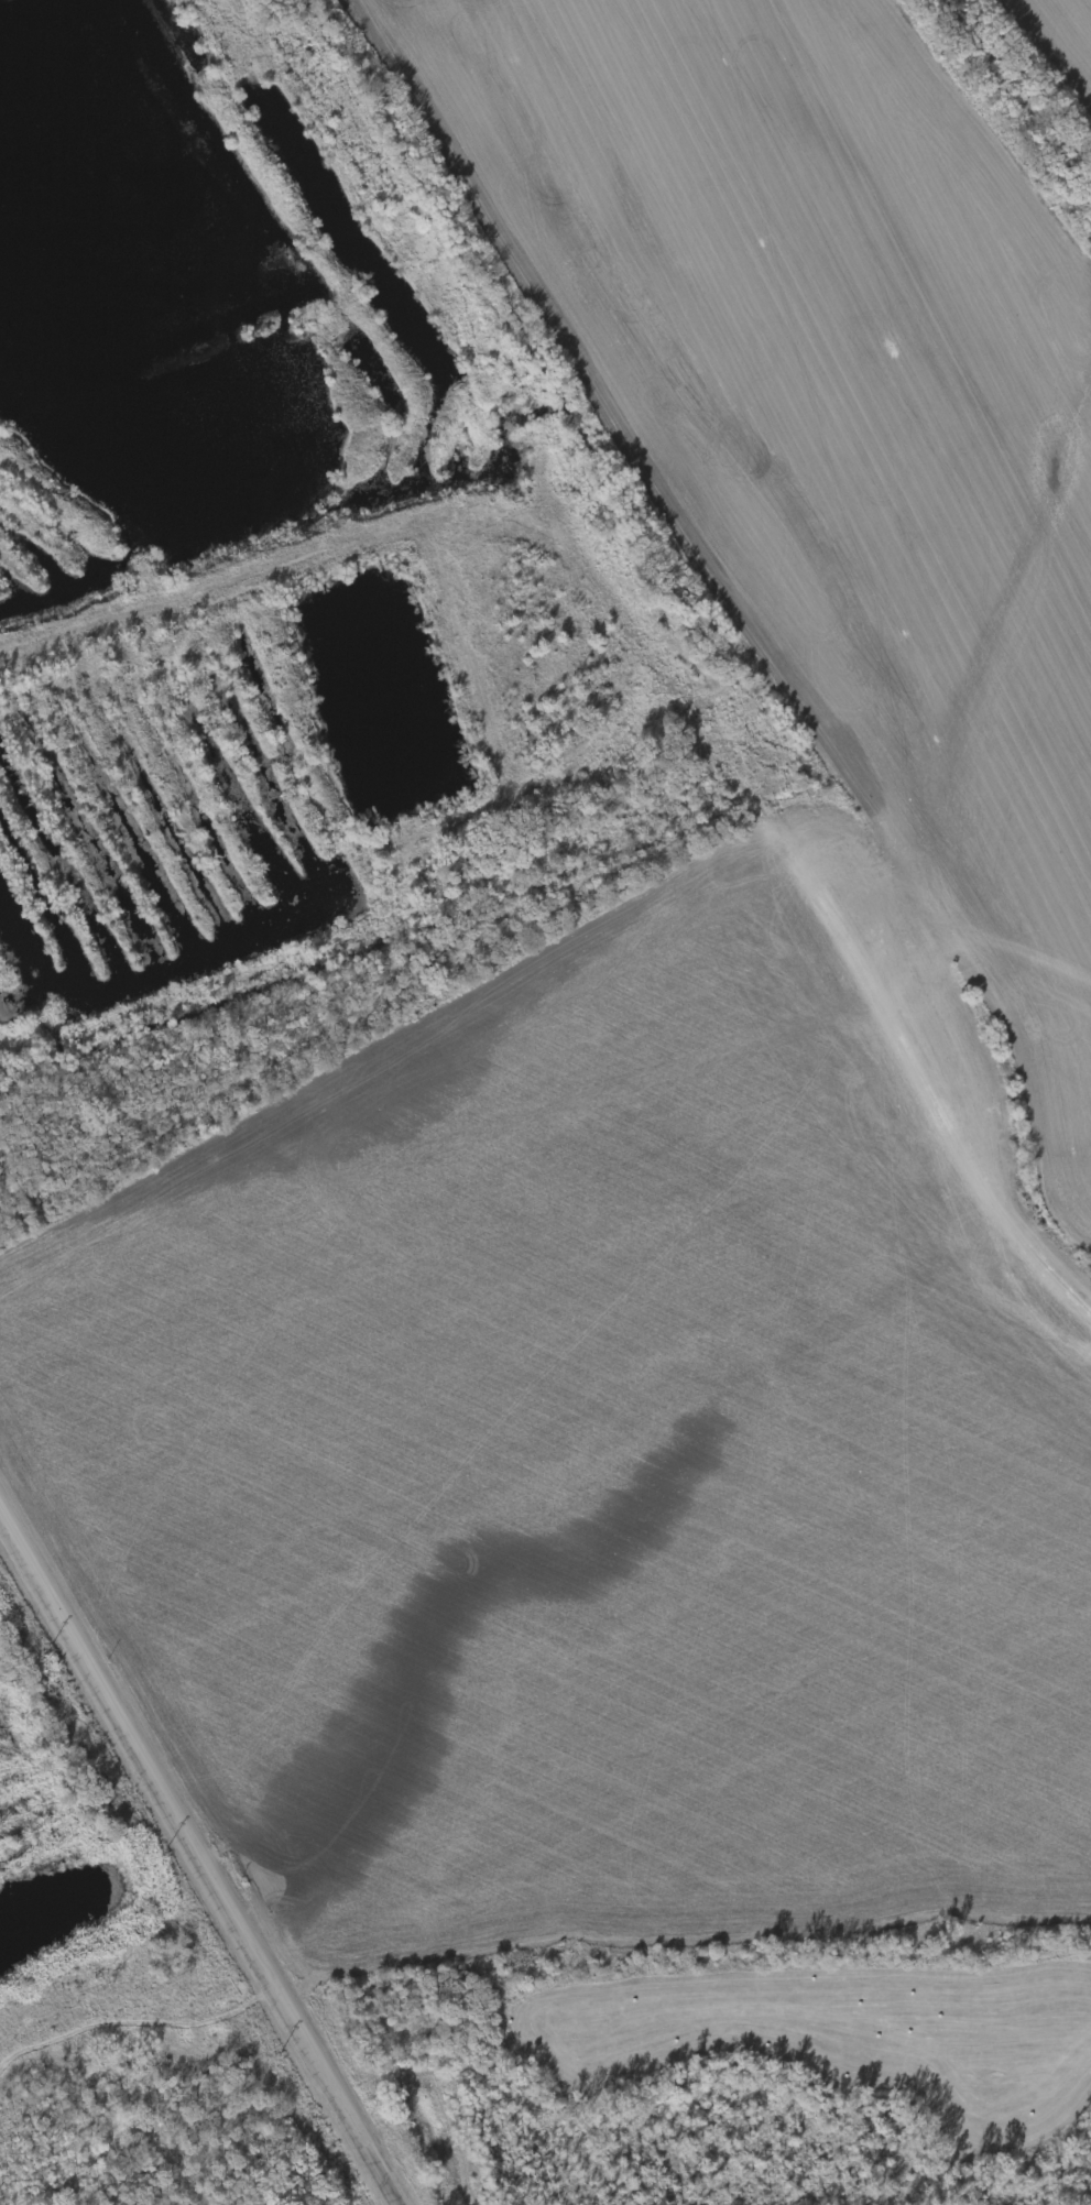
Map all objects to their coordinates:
road: (55, 631)
building: (212, 650)
road: (25, 738)
crop: (519, 743)
crop: (40, 1691)
crop: (716, 1778)
road: (201, 1852)
crop: (140, 2020)

